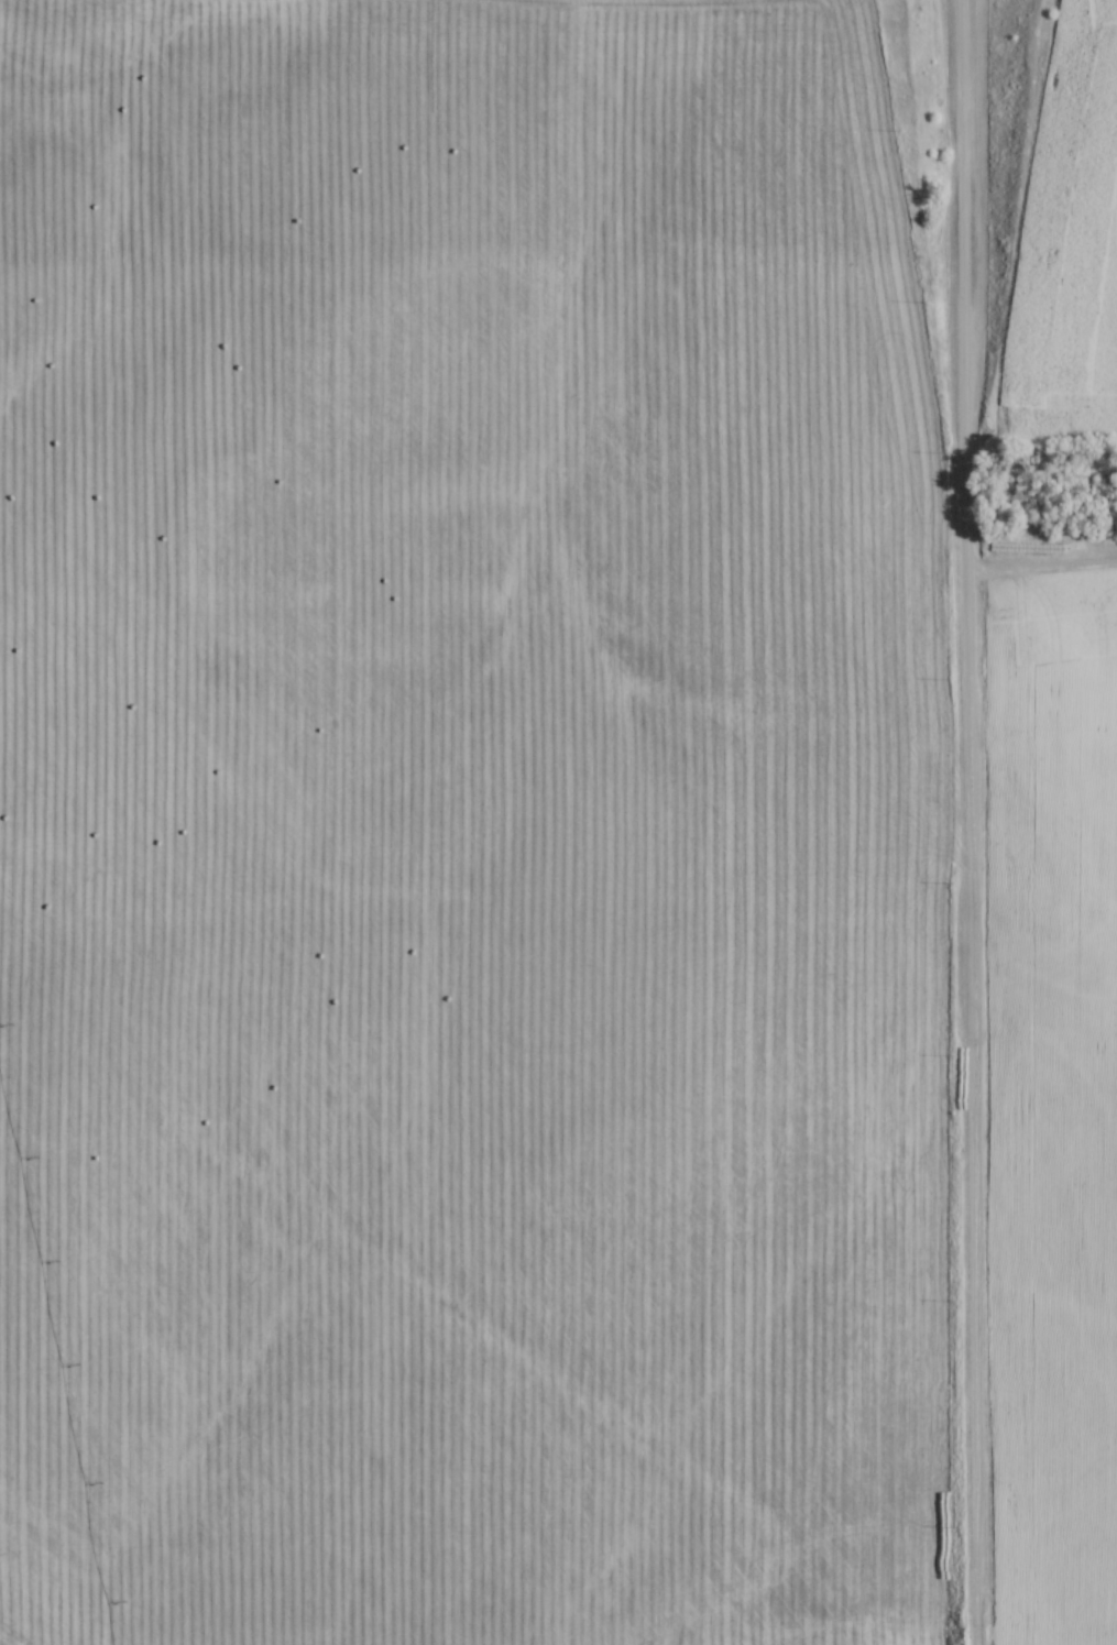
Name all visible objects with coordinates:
road: (964, 822)

